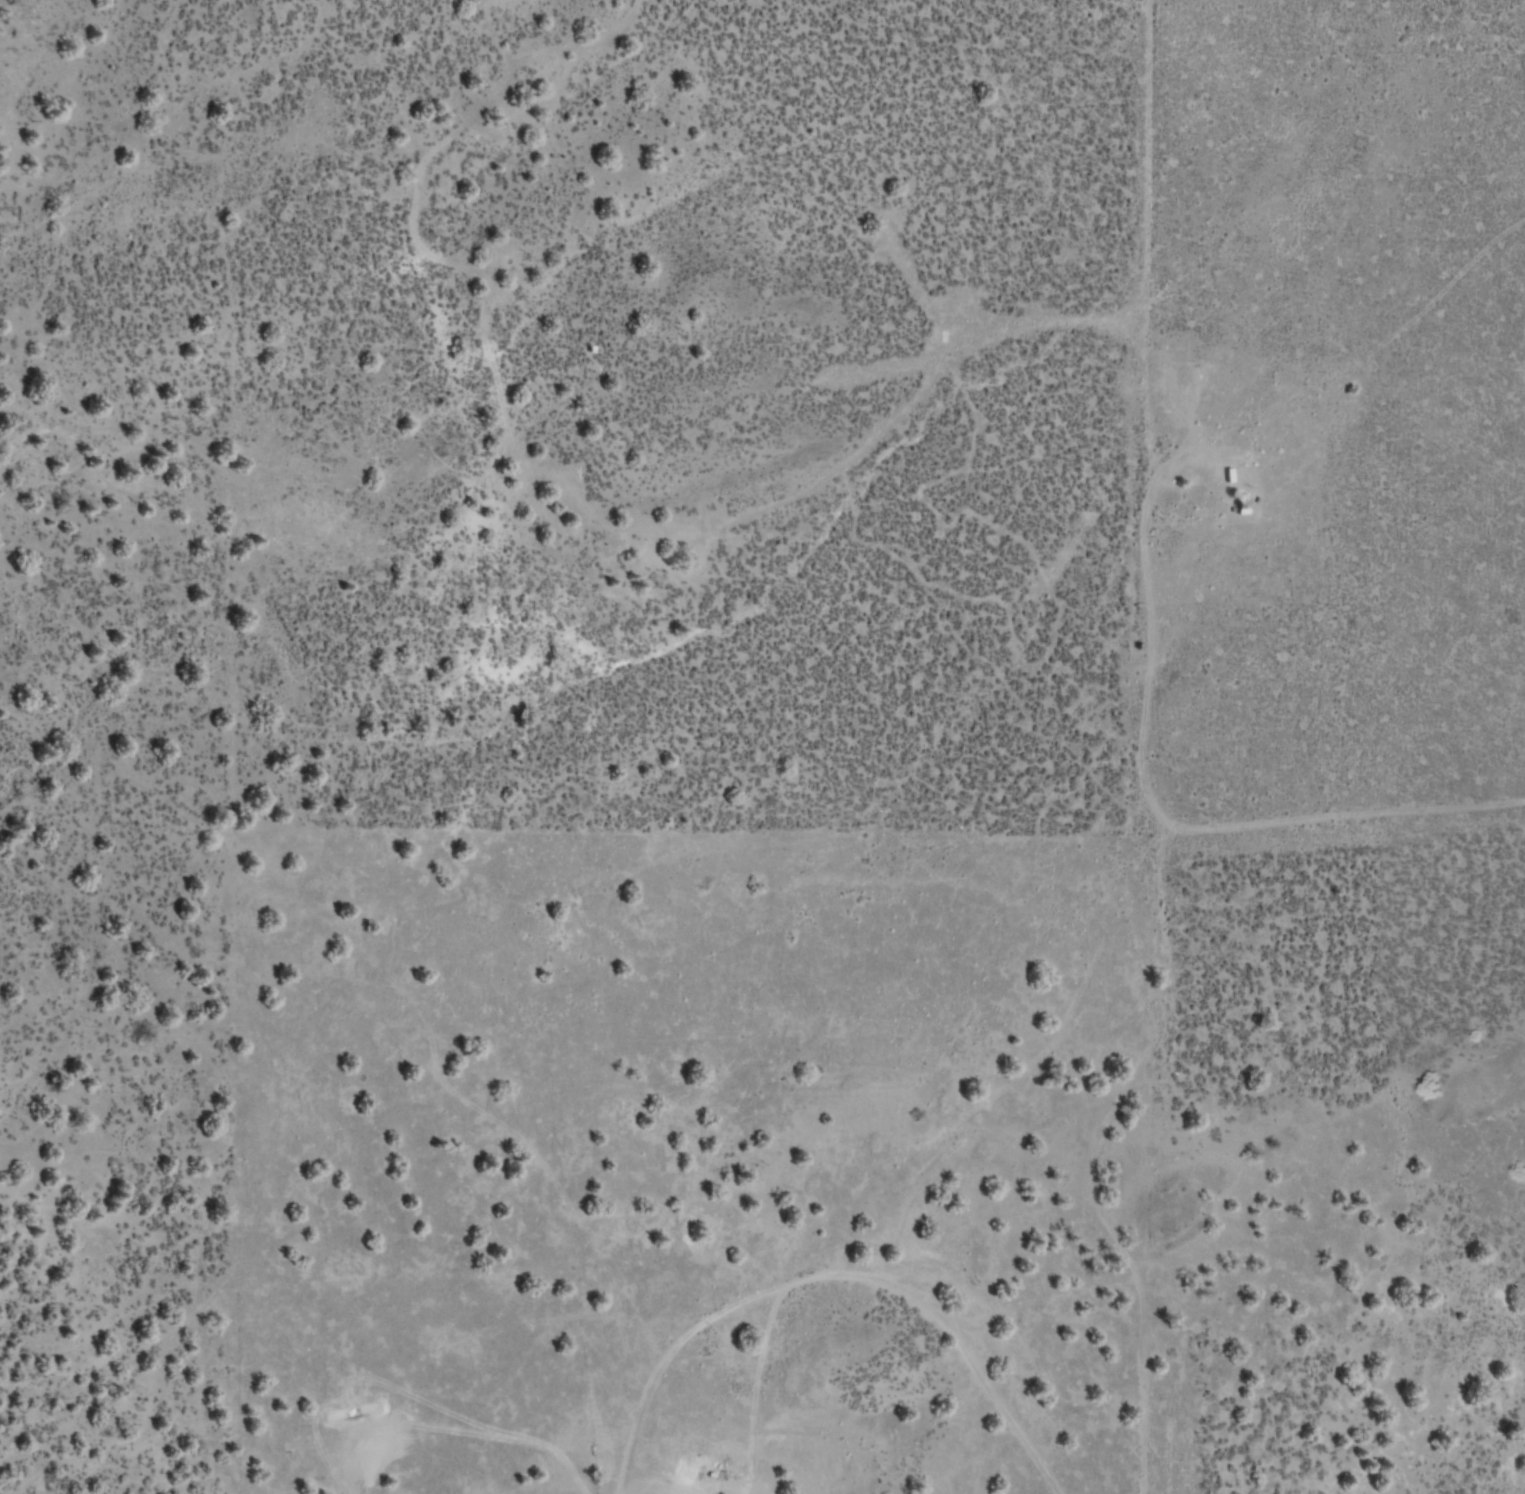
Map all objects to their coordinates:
road: (1166, 415)
road: (1346, 822)

